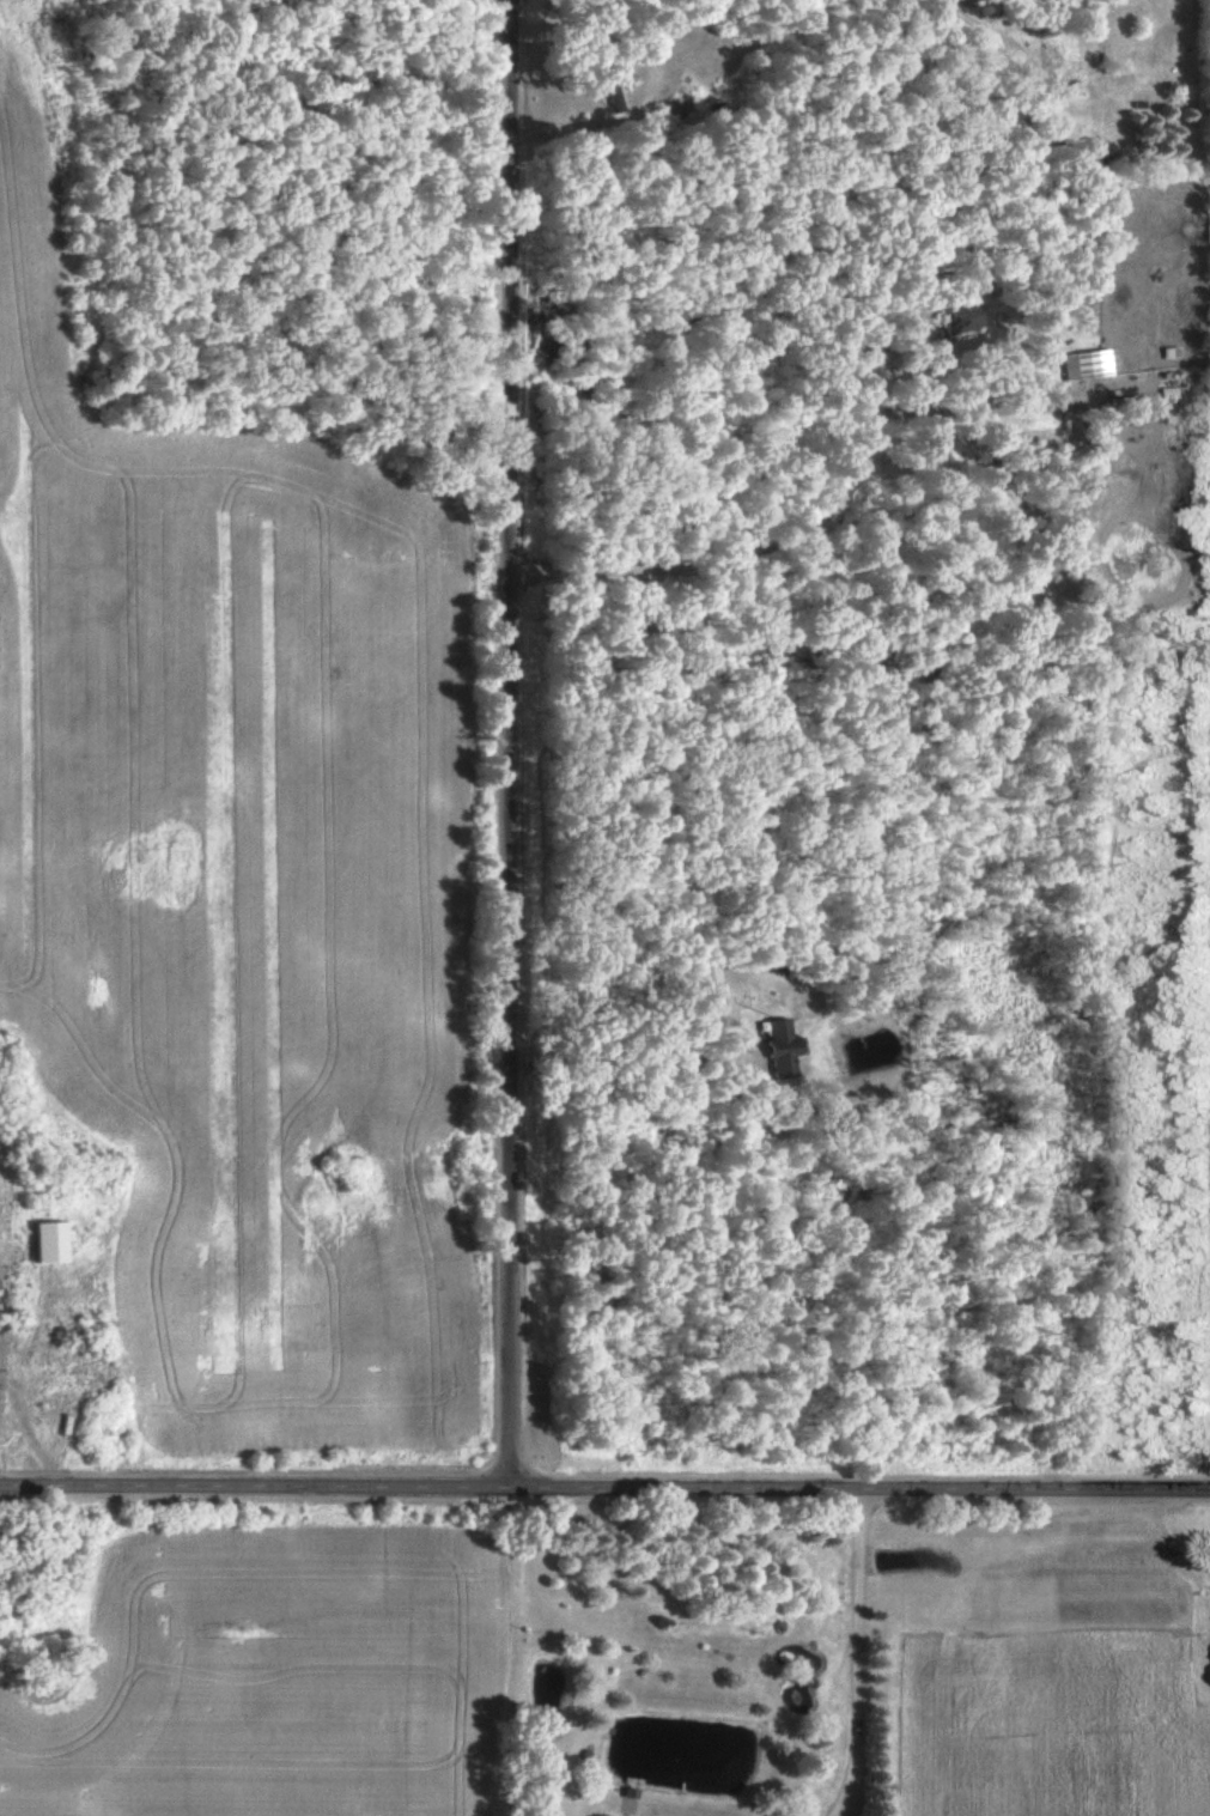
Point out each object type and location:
building: (1083, 363)
road: (513, 745)
building: (779, 1045)
building: (43, 1241)
road: (604, 1489)

